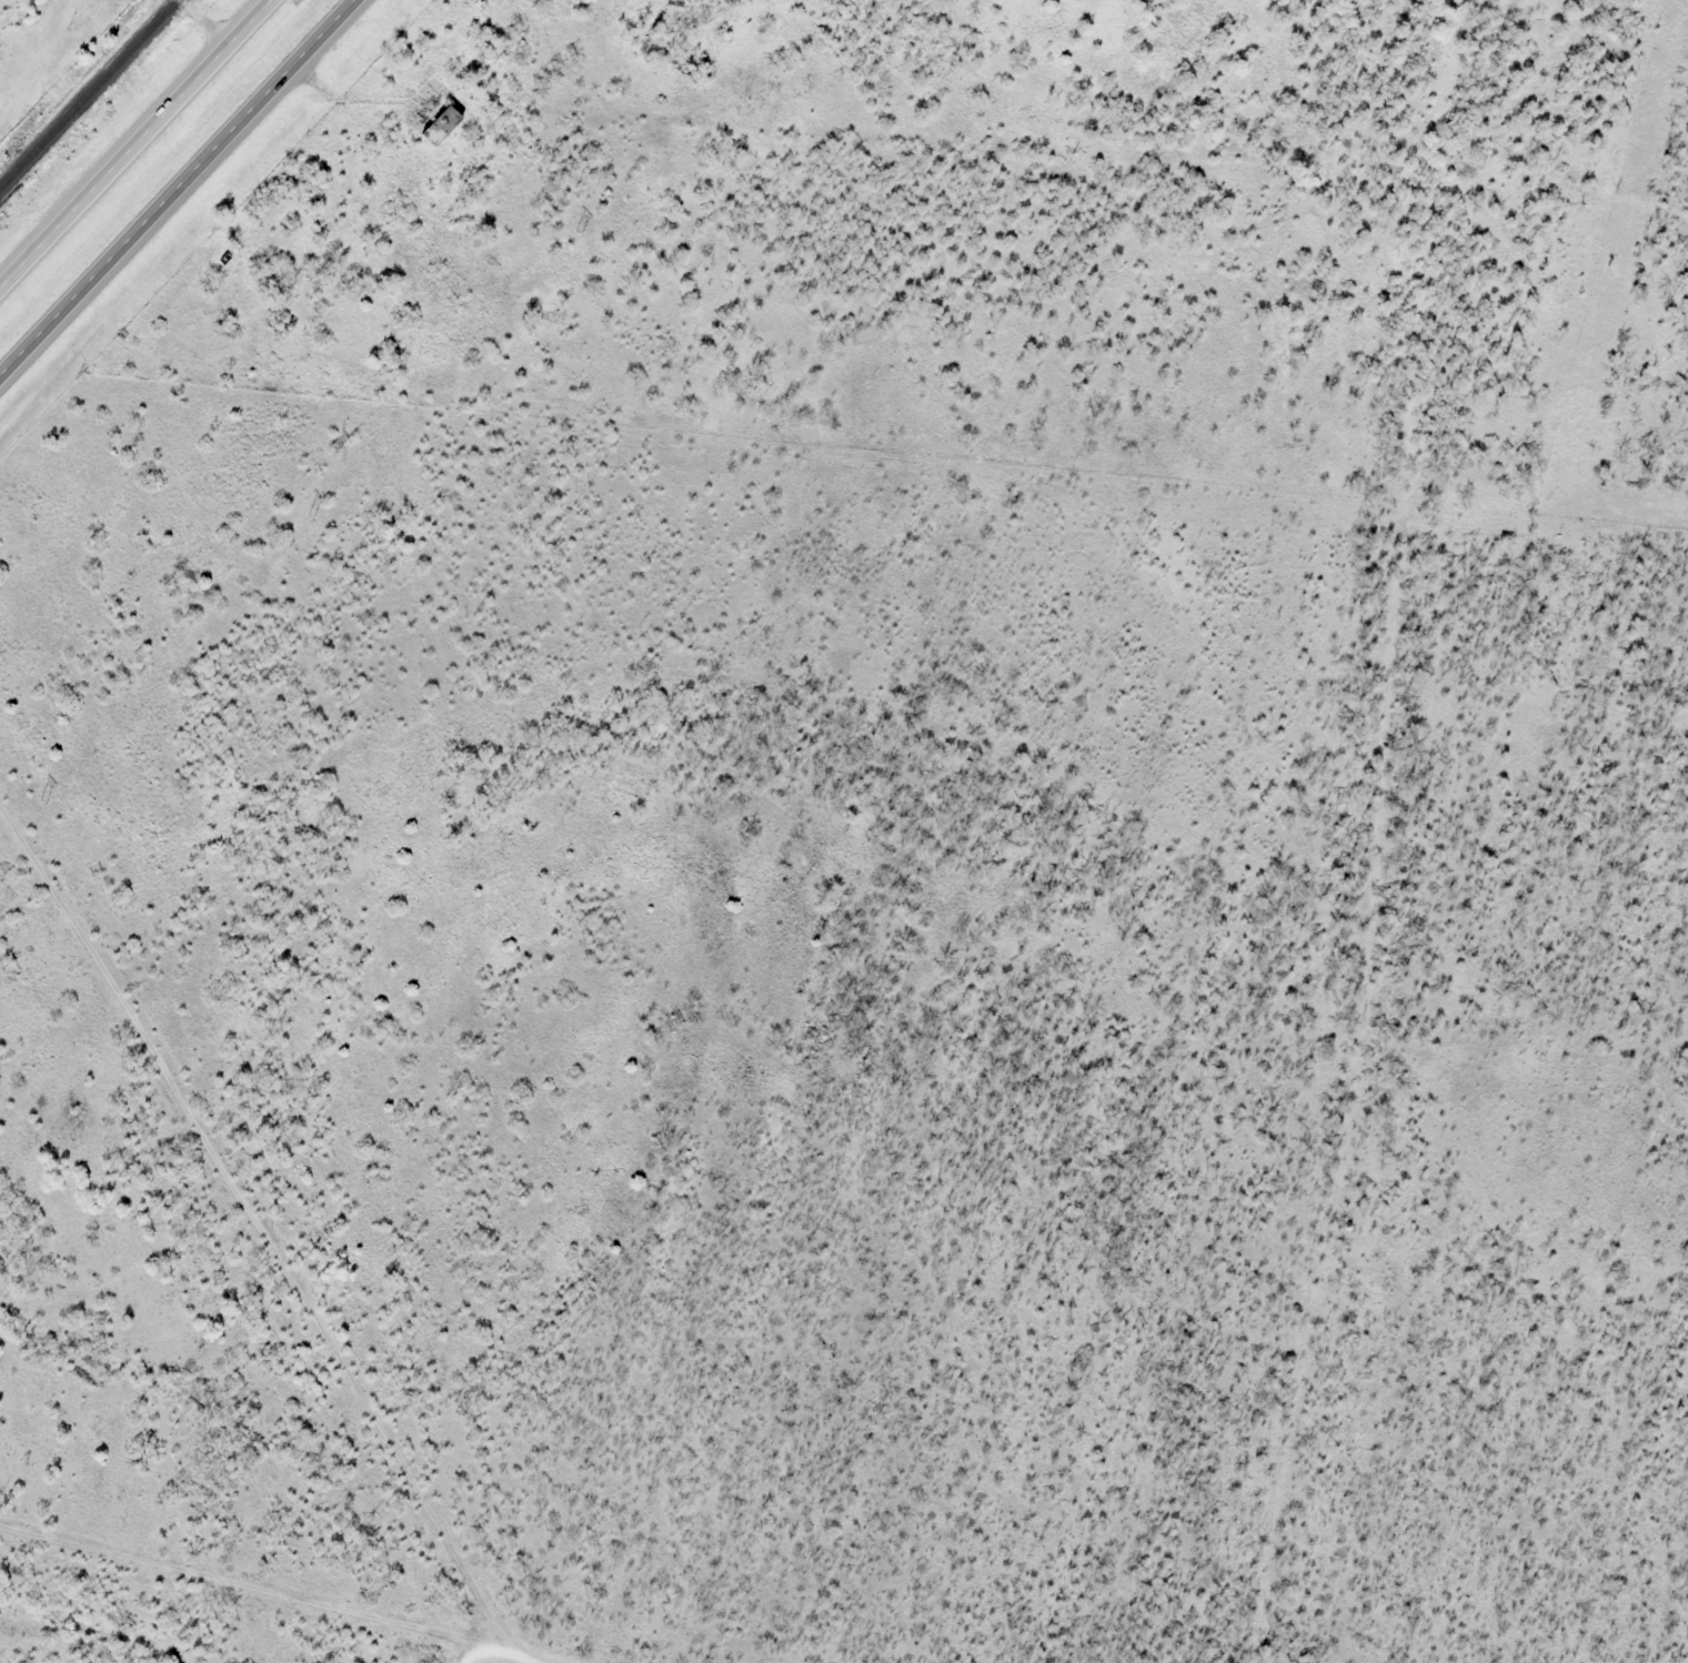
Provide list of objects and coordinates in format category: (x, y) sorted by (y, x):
road: (204, 26)
railway: (88, 93)
building: (441, 128)
road: (140, 149)
road: (190, 202)
power tower: (579, 234)
power tower: (310, 518)
power tower: (41, 800)
road: (251, 1248)
road: (520, 1647)

